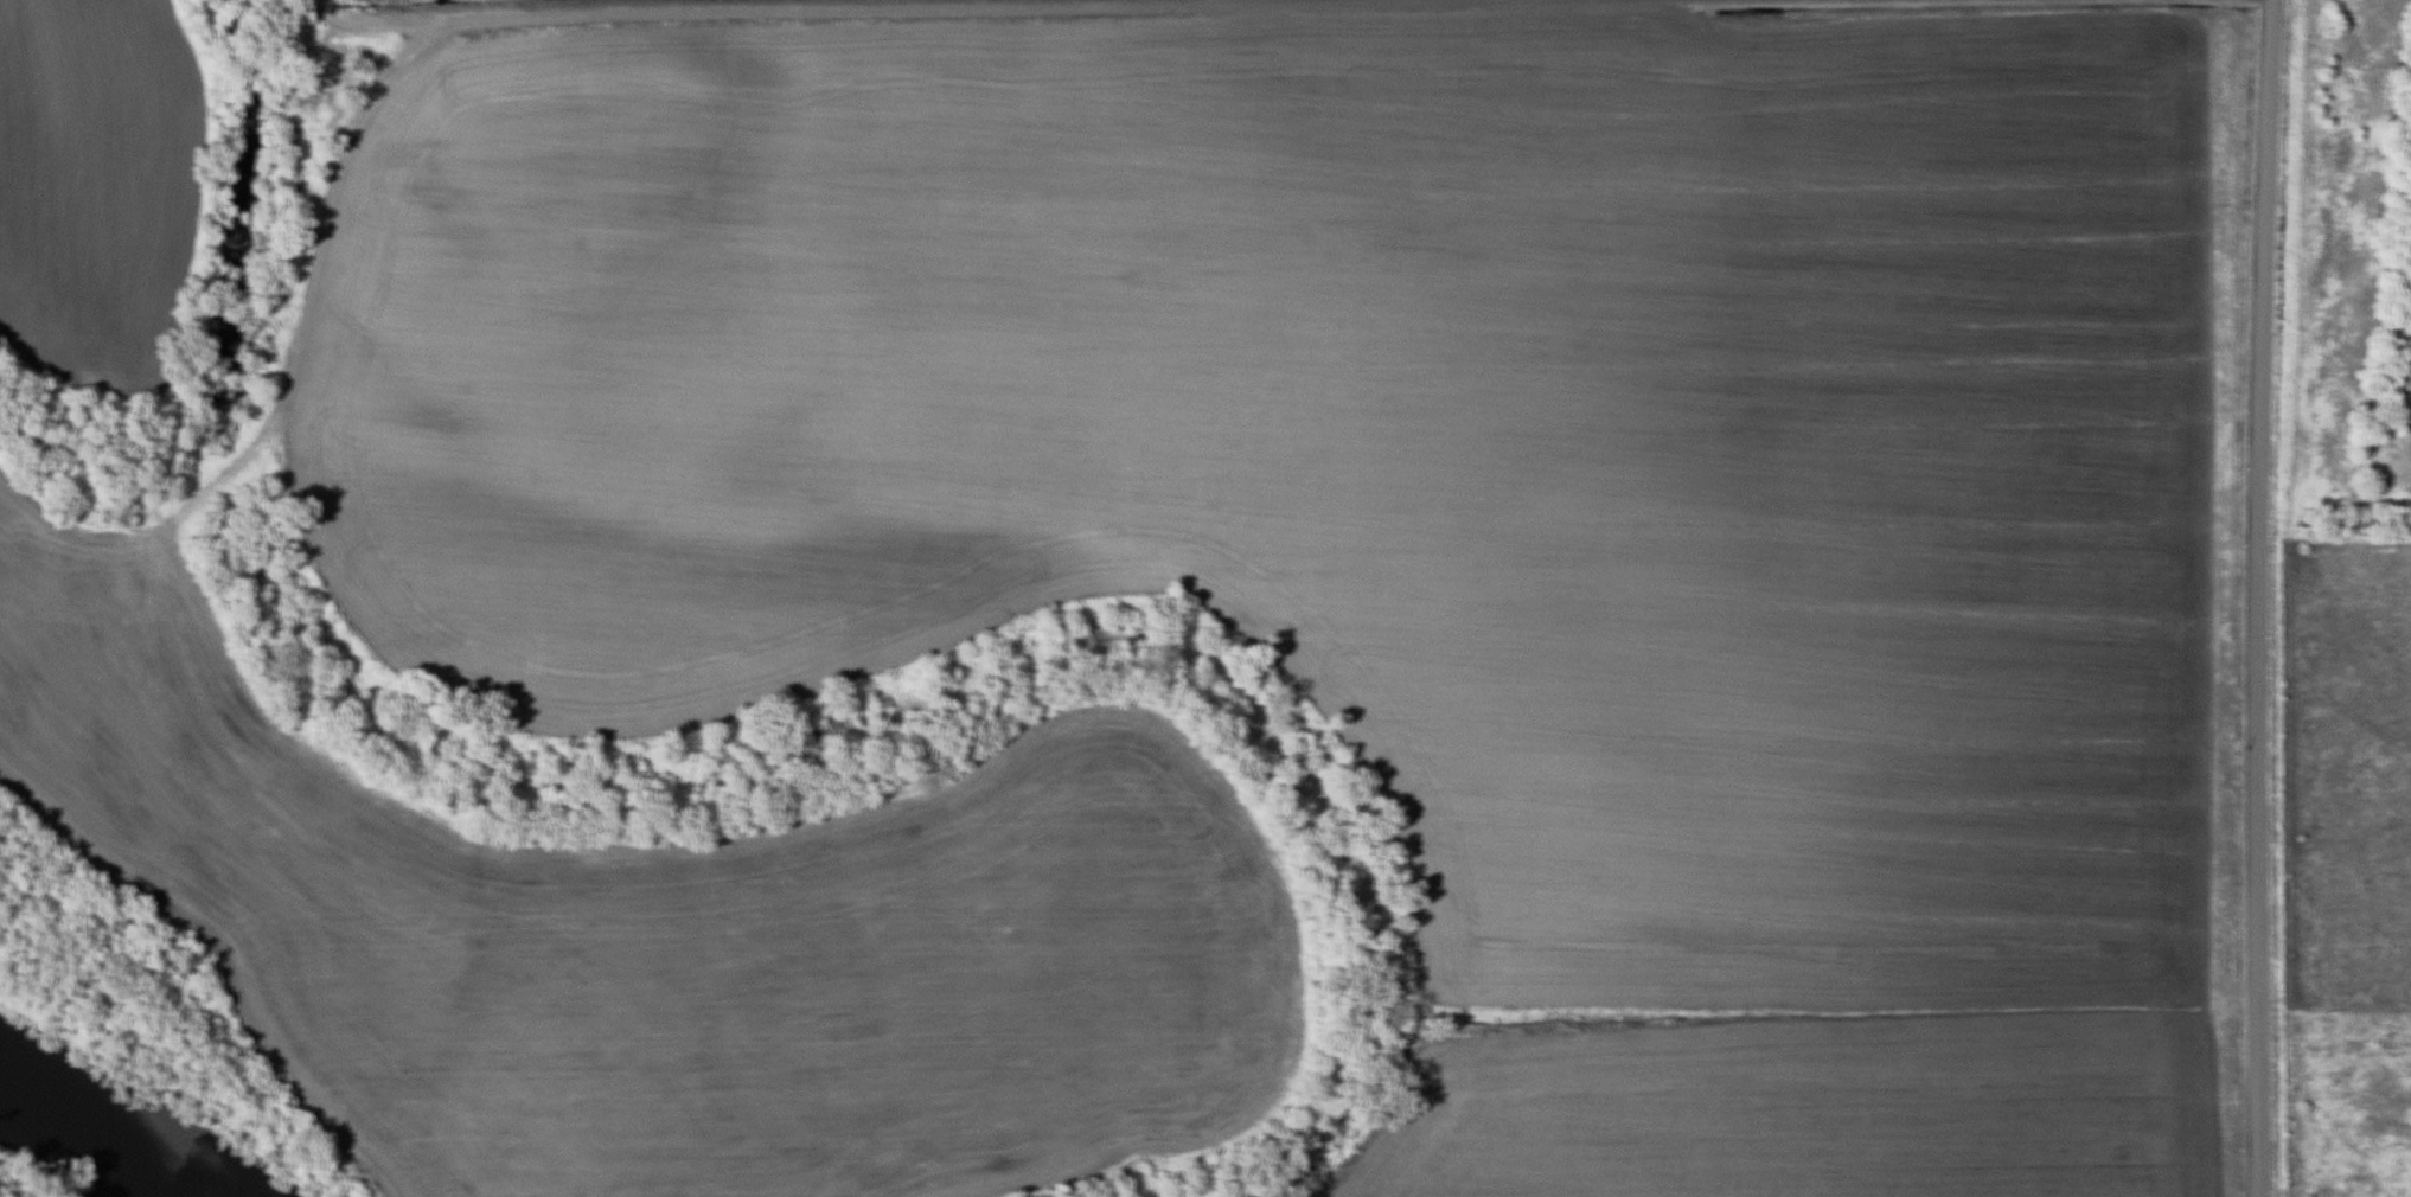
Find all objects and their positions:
road: (749, 12)
road: (2257, 597)
river: (121, 1115)

